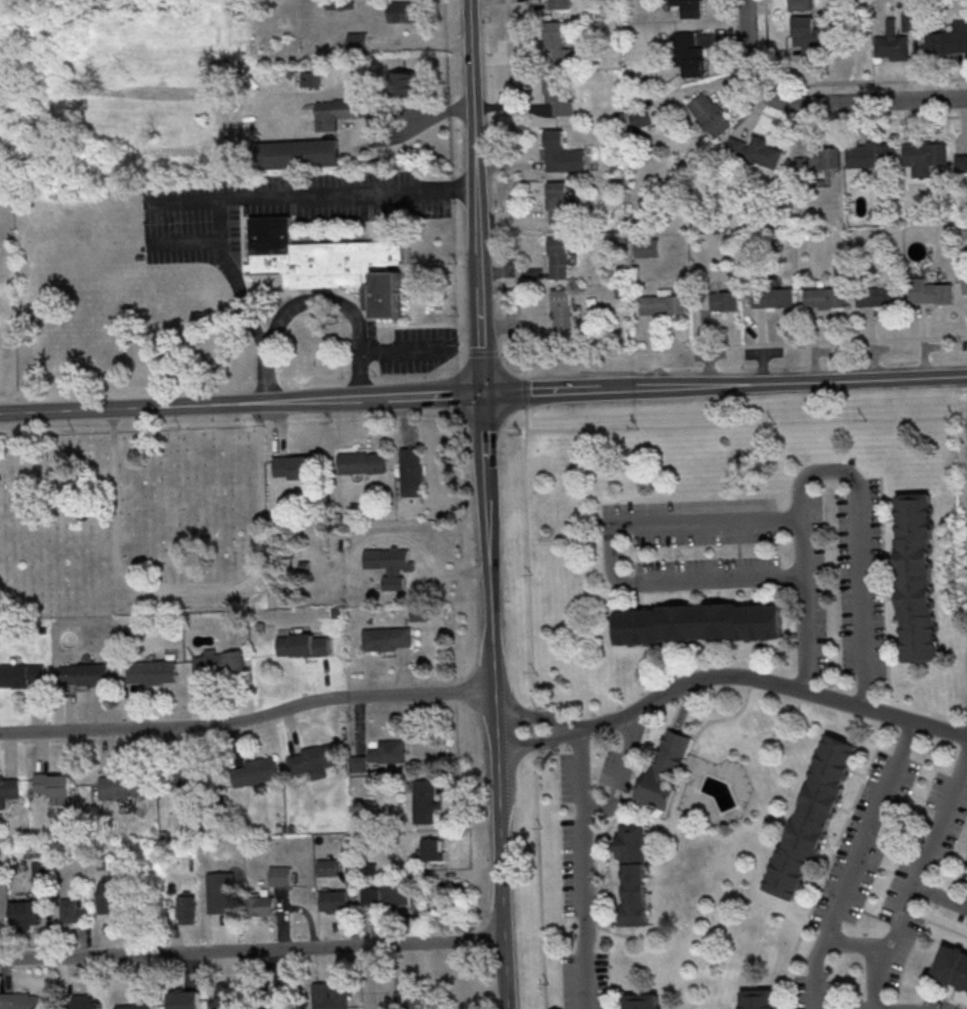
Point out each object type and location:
building: (559, 4)
building: (801, 4)
building: (689, 7)
building: (404, 11)
building: (908, 20)
building: (810, 35)
building: (948, 39)
building: (357, 40)
building: (894, 40)
building: (556, 44)
building: (690, 55)
building: (310, 78)
building: (404, 82)
road: (332, 90)
building: (554, 99)
road: (817, 103)
building: (335, 112)
road: (429, 112)
building: (710, 114)
building: (643, 119)
building: (755, 151)
building: (300, 153)
building: (561, 153)
building: (871, 154)
building: (924, 156)
building: (820, 158)
building: (961, 162)
road: (326, 191)
road: (476, 197)
building: (561, 203)
building: (646, 247)
building: (558, 257)
building: (329, 265)
building: (964, 281)
building: (928, 291)
building: (878, 295)
road: (311, 297)
building: (772, 297)
building: (824, 297)
building: (723, 300)
building: (661, 302)
building: (562, 311)
road: (400, 349)
road: (483, 394)
traffic signals: (483, 395)
building: (361, 462)
building: (293, 466)
road: (833, 470)
building: (410, 471)
park: (133, 526)
road: (610, 552)
building: (388, 564)
building: (916, 576)
road: (194, 590)
building: (697, 622)
building: (385, 638)
building: (302, 645)
building: (219, 662)
building: (153, 671)
building: (84, 673)
building: (21, 674)
road: (729, 676)
road: (494, 702)
road: (248, 720)
building: (388, 751)
building: (314, 760)
building: (358, 763)
building: (256, 771)
road: (624, 771)
building: (665, 771)
building: (187, 780)
building: (55, 786)
building: (123, 786)
building: (8, 789)
building: (424, 800)
building: (813, 816)
building: (431, 852)
road: (855, 865)
building: (326, 866)
road: (586, 868)
building: (42, 873)
building: (279, 875)
building: (633, 875)
road: (916, 879)
building: (219, 892)
building: (394, 892)
building: (112, 894)
building: (370, 895)
road: (939, 898)
building: (333, 900)
building: (263, 905)
building: (186, 909)
building: (71, 911)
building: (26, 912)
road: (252, 949)
building: (952, 967)
road: (424, 976)
building: (327, 996)
building: (226, 997)
building: (185, 999)
building: (760, 999)
building: (25, 1000)
building: (406, 1000)
building: (641, 1001)
building: (84, 1002)
building: (137, 1002)

